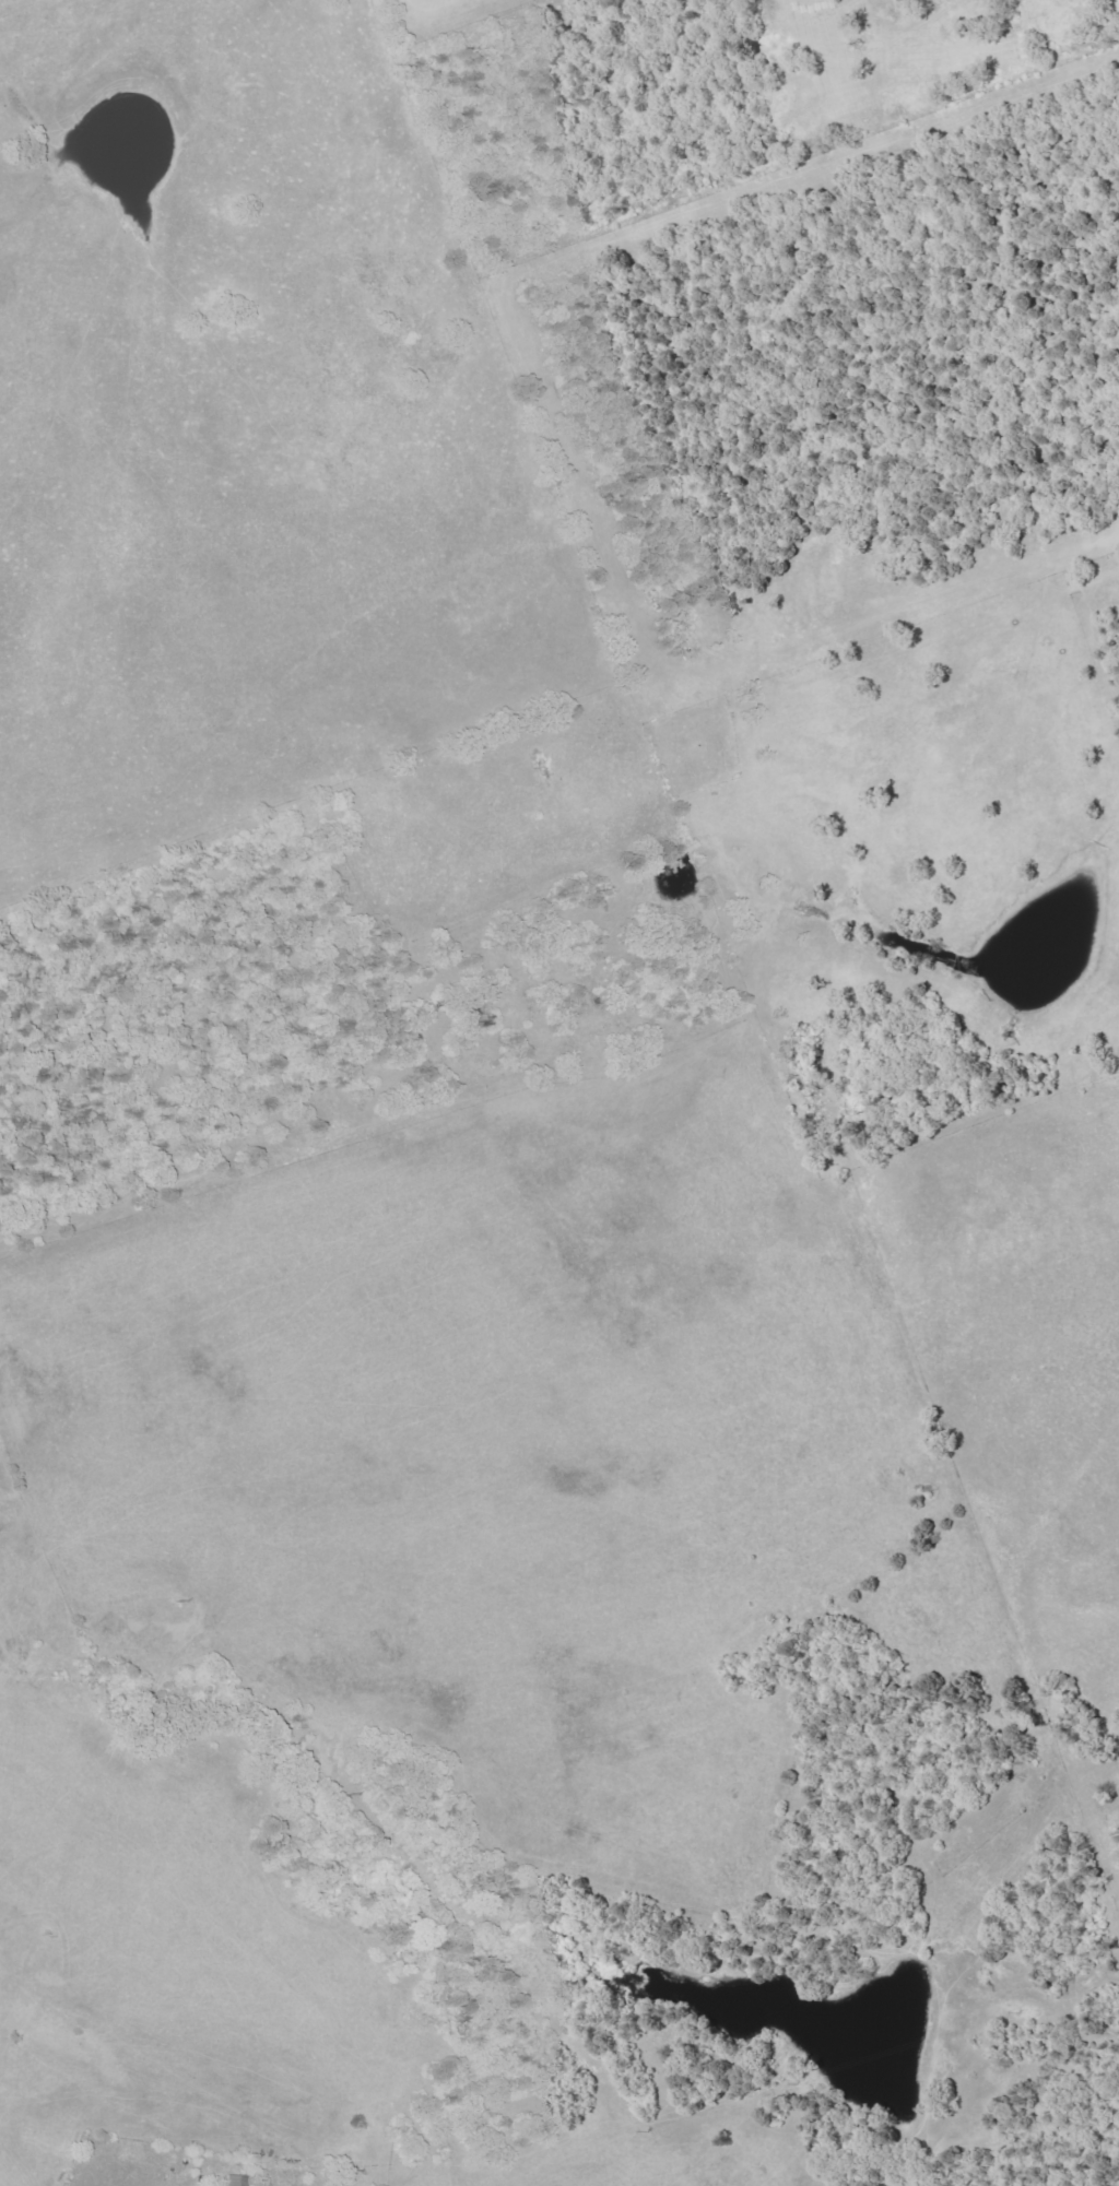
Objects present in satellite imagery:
building: (236, 2179)

